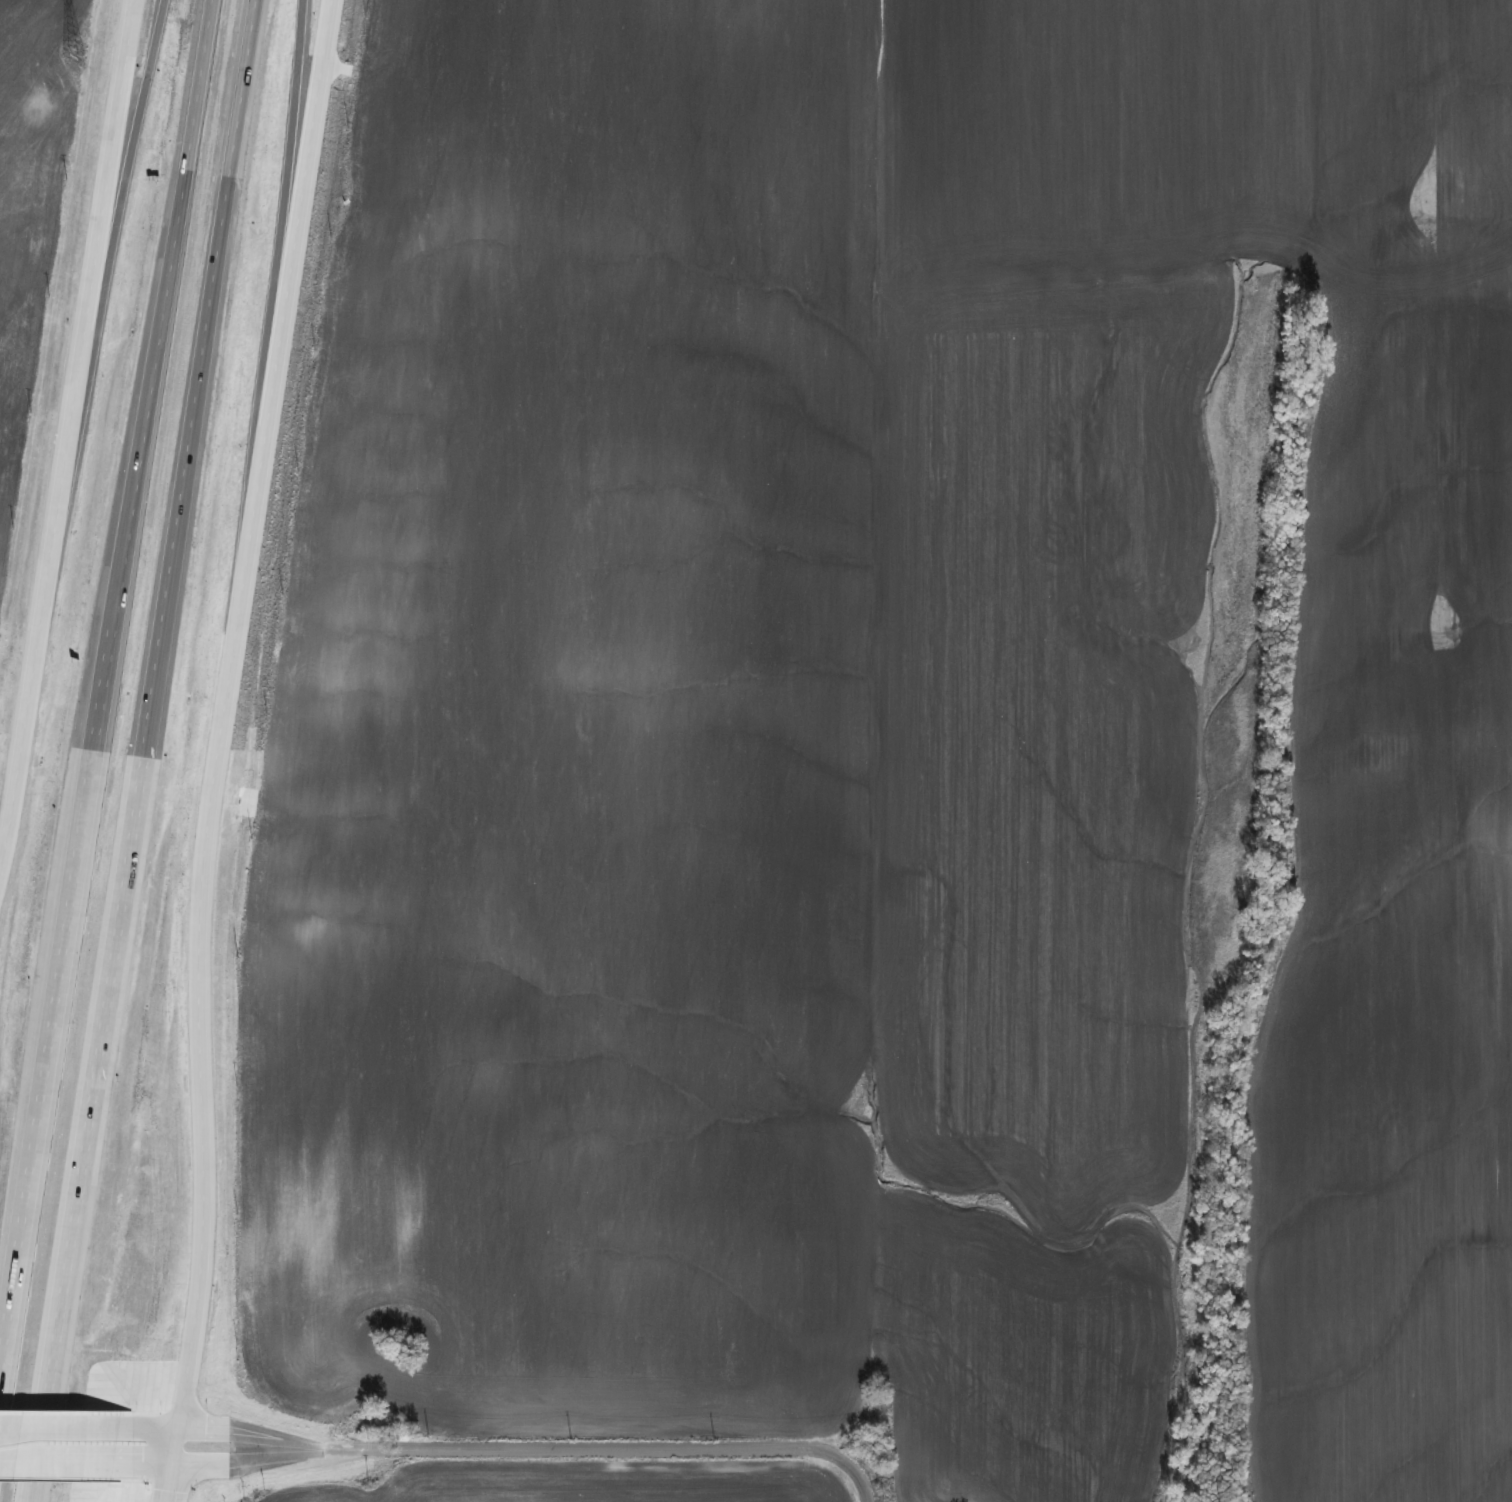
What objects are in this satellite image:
road: (144, 22)
road: (288, 71)
power tower: (37, 108)
road: (147, 423)
road: (75, 429)
road: (156, 633)
road: (211, 726)
road: (40, 1116)
road: (41, 1383)
road: (532, 1451)
road: (66, 1453)
road: (152, 1455)
road: (169, 1479)

